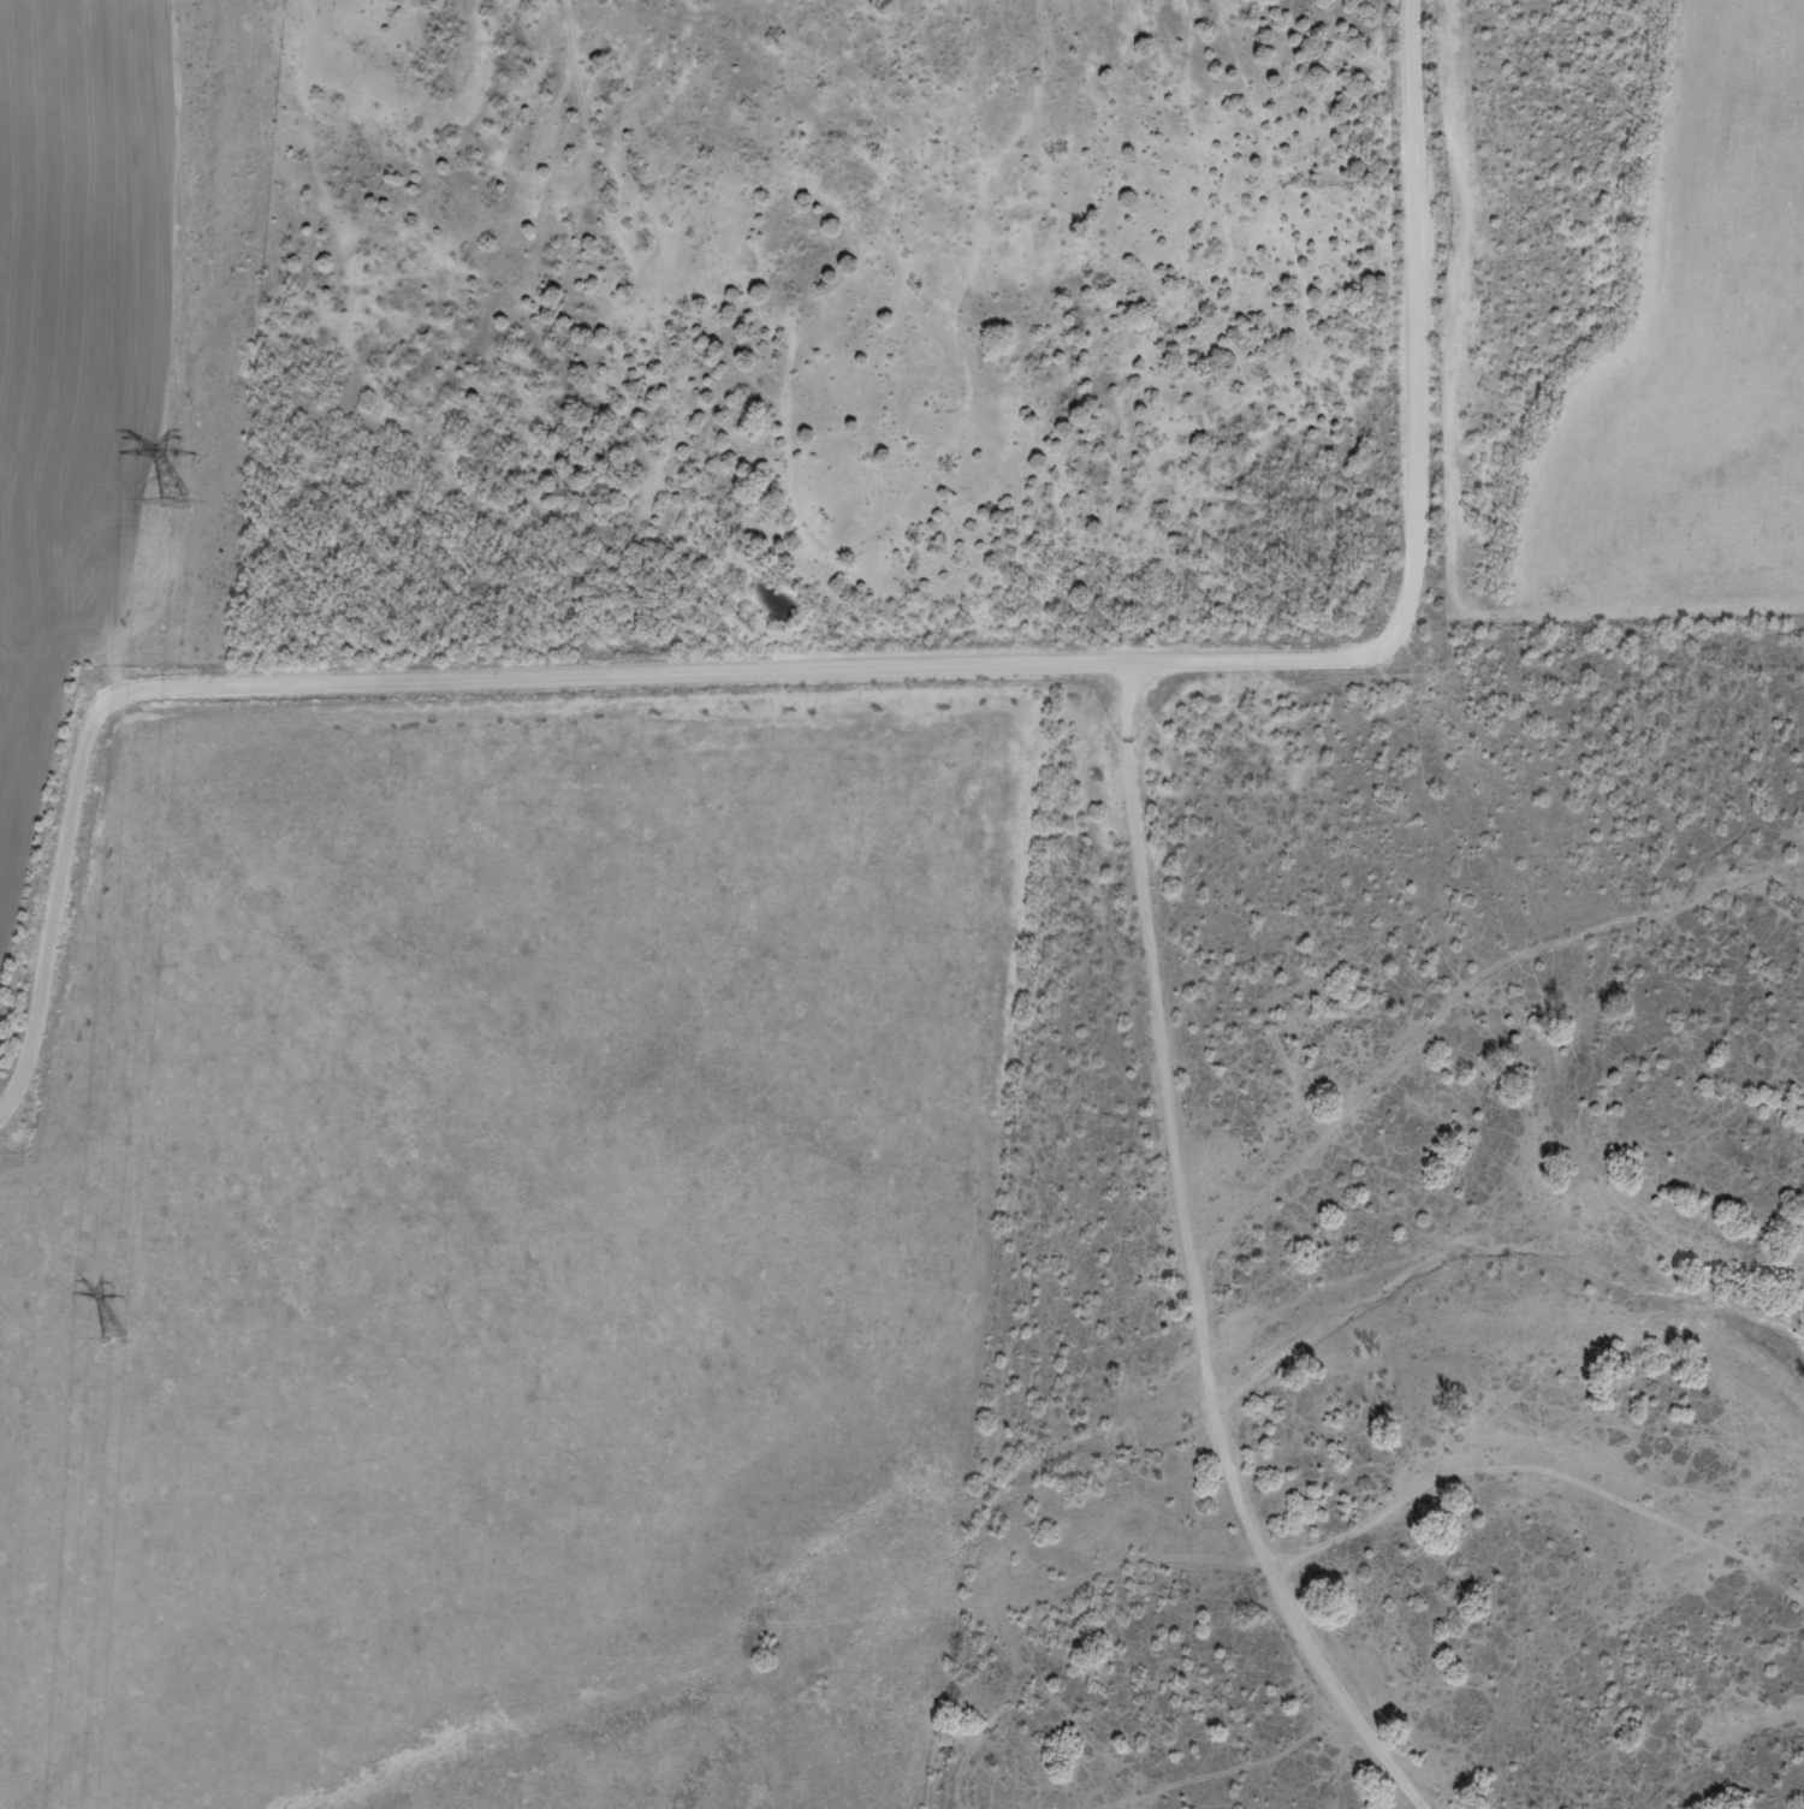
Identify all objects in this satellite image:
power tower: (178, 505)
road: (928, 735)
road: (1193, 1294)
power tower: (115, 1339)

